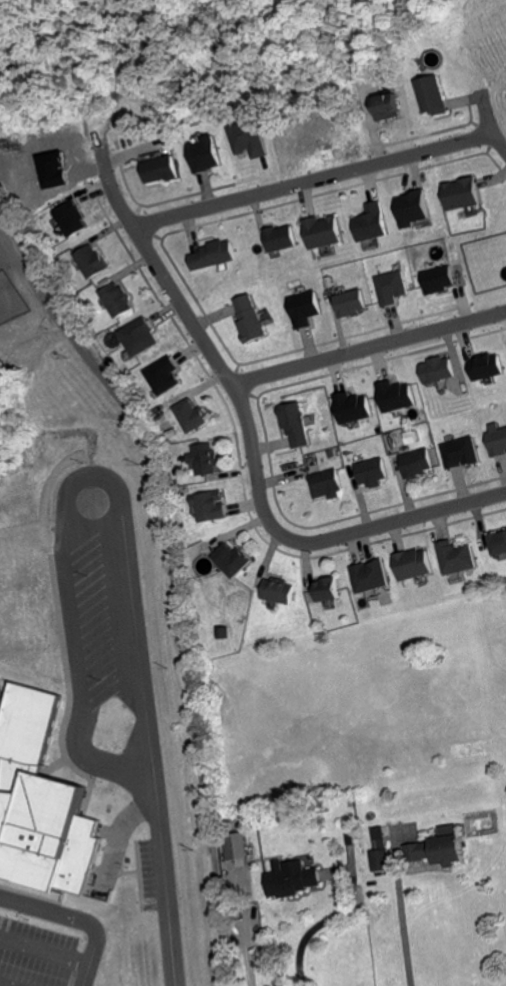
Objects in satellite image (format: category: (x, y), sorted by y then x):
building: (430, 97)
building: (386, 109)
road: (486, 124)
building: (254, 139)
building: (206, 157)
building: (162, 171)
road: (311, 179)
building: (461, 195)
building: (412, 210)
building: (73, 221)
building: (372, 225)
building: (324, 234)
building: (281, 240)
building: (215, 257)
building: (93, 263)
building: (444, 281)
building: (393, 289)
building: (119, 302)
building: (351, 305)
building: (305, 311)
building: (142, 339)
road: (369, 345)
building: (487, 368)
building: (440, 372)
building: (165, 378)
building: (397, 397)
building: (354, 409)
building: (192, 417)
building: (297, 426)
road: (251, 440)
building: (497, 441)
building: (461, 455)
building: (207, 461)
building: (418, 465)
building: (373, 474)
building: (327, 486)
building: (210, 509)
building: (498, 545)
building: (457, 560)
building: (232, 562)
building: (414, 566)
building: (371, 578)
road: (174, 588)
building: (327, 592)
building: (279, 593)
building: (27, 725)
building: (49, 834)
road: (157, 840)
building: (237, 847)
building: (441, 848)
building: (381, 853)
building: (293, 880)
road: (52, 913)
road: (324, 918)
road: (404, 929)
road: (90, 962)

